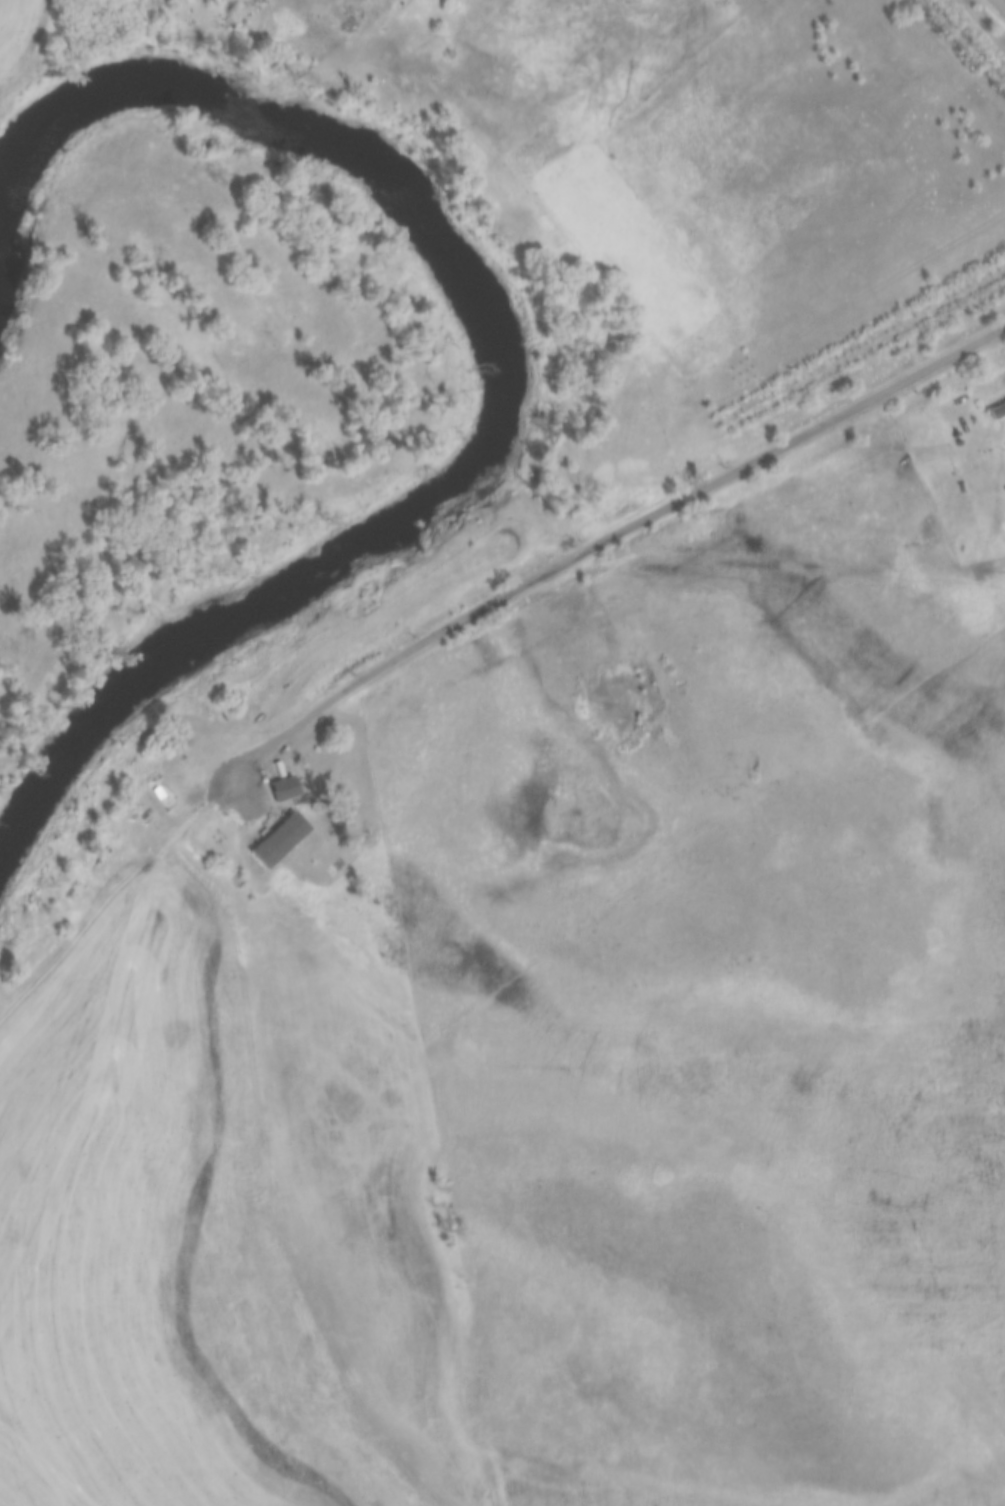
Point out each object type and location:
road: (1003, 1)
river: (501, 356)
road: (597, 541)
building: (283, 789)
building: (304, 829)
road: (111, 903)

